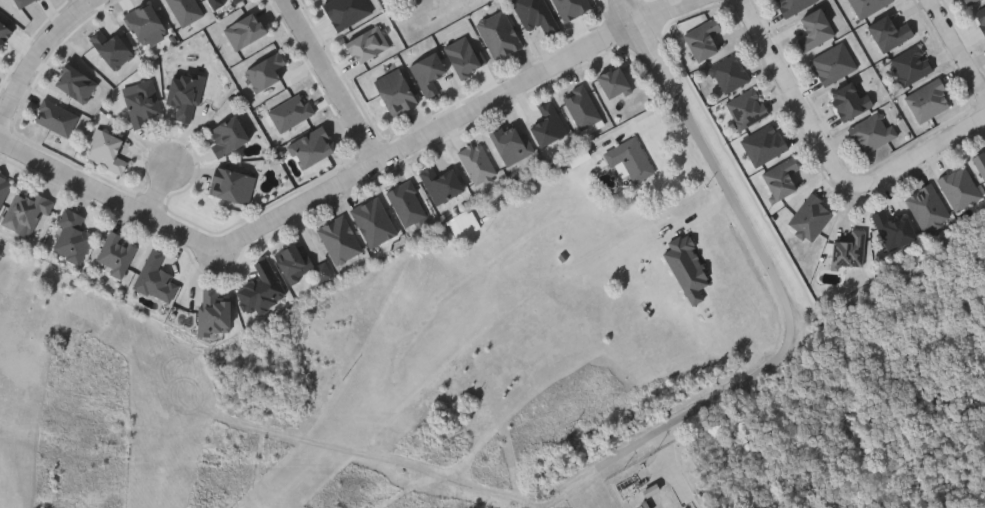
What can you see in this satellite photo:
building: (237, 0)
road: (89, 1)
building: (969, 1)
building: (218, 2)
building: (792, 5)
building: (867, 6)
building: (188, 9)
building: (537, 14)
building: (980, 16)
building: (147, 23)
building: (814, 28)
building: (246, 29)
building: (888, 31)
building: (499, 32)
building: (702, 37)
road: (957, 45)
building: (465, 54)
road: (37, 55)
building: (834, 61)
building: (912, 64)
building: (729, 72)
road: (335, 81)
building: (396, 90)
building: (186, 91)
road: (792, 93)
building: (849, 99)
building: (928, 99)
building: (144, 101)
building: (582, 104)
building: (747, 107)
building: (292, 110)
building: (57, 115)
building: (873, 130)
building: (228, 133)
building: (512, 141)
building: (764, 143)
building: (313, 145)
building: (107, 149)
road: (916, 153)
building: (632, 157)
building: (478, 161)
building: (980, 161)
building: (781, 176)
road: (349, 179)
building: (442, 182)
building: (232, 183)
building: (4, 187)
road: (160, 187)
building: (959, 187)
building: (927, 206)
building: (27, 212)
building: (810, 216)
building: (374, 220)
building: (893, 228)
building: (73, 235)
building: (340, 237)
building: (849, 248)
building: (117, 252)
building: (291, 261)
building: (323, 270)
building: (156, 276)
building: (262, 287)
road: (790, 303)
building: (214, 310)

